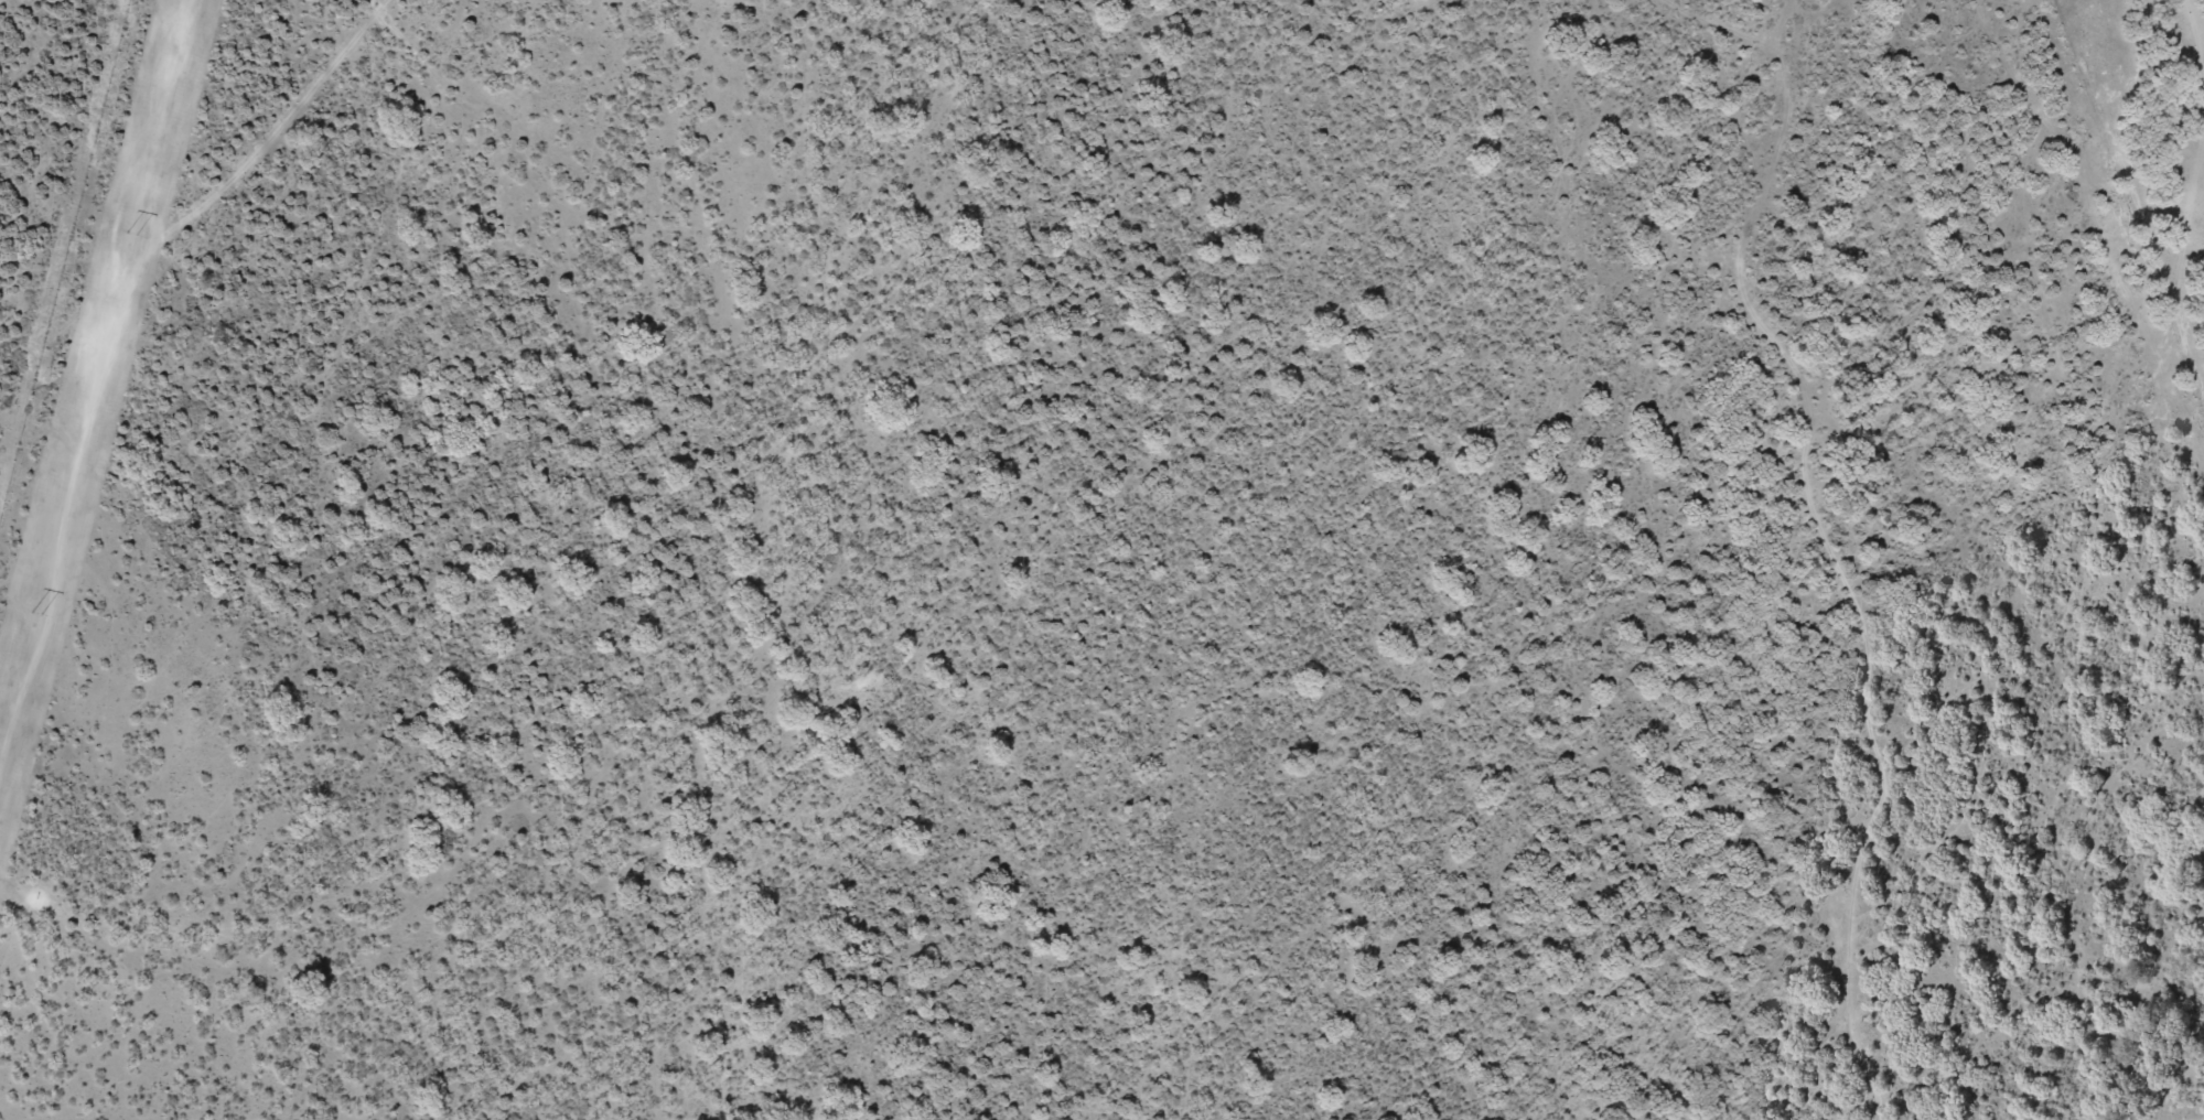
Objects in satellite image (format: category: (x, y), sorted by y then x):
road: (254, 137)
power tower: (129, 233)
road: (93, 388)
power tower: (34, 614)

